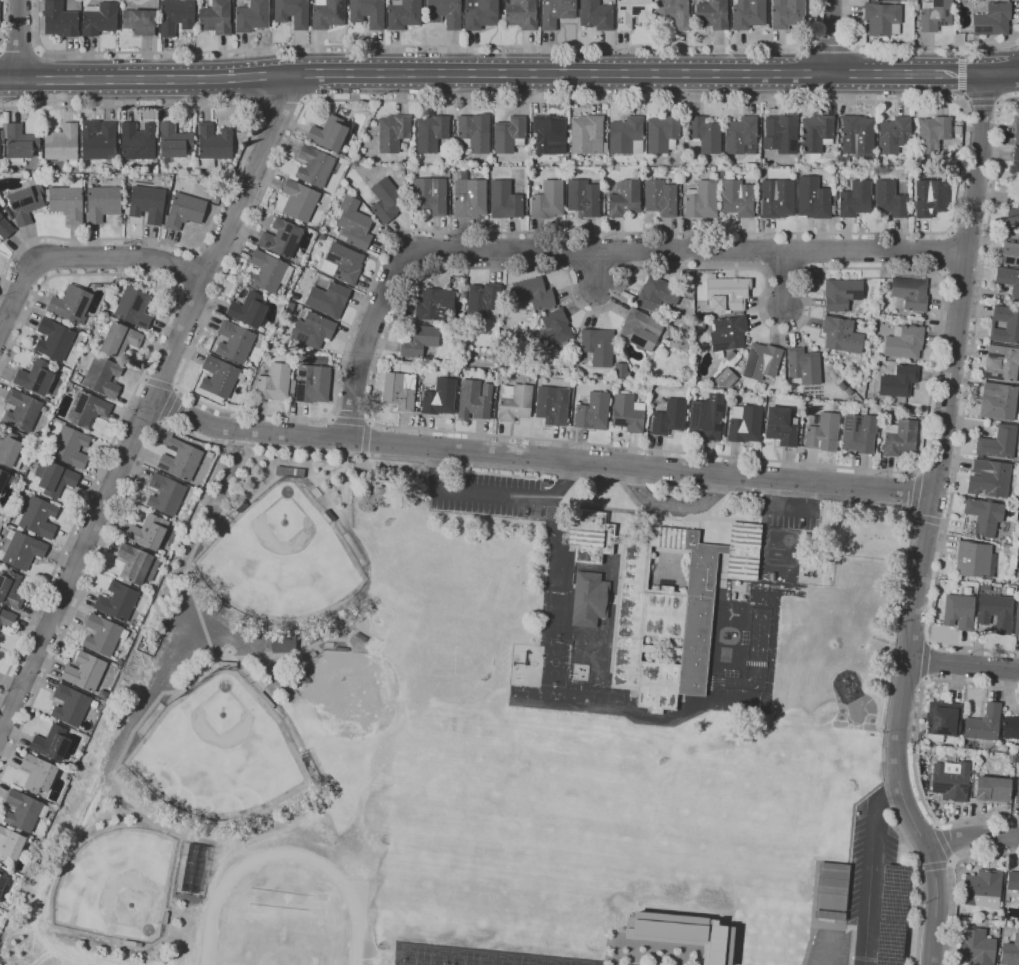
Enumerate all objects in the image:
building: (916, 7)
building: (292, 12)
building: (367, 12)
building: (444, 12)
building: (556, 12)
building: (674, 12)
building: (327, 13)
building: (480, 13)
building: (631, 13)
building: (747, 13)
building: (403, 14)
building: (521, 14)
building: (595, 14)
building: (711, 14)
building: (787, 14)
building: (935, 15)
building: (175, 16)
building: (251, 16)
building: (216, 17)
building: (99, 18)
building: (882, 18)
building: (59, 19)
building: (992, 20)
building: (140, 21)
road: (1, 22)
road: (831, 36)
road: (19, 40)
road: (829, 43)
road: (421, 46)
road: (913, 46)
road: (20, 49)
road: (509, 73)
road: (982, 104)
building: (1016, 125)
building: (432, 132)
building: (816, 132)
building: (329, 133)
building: (393, 133)
building: (474, 133)
building: (662, 133)
building: (704, 133)
building: (781, 133)
building: (932, 133)
building: (509, 134)
building: (549, 134)
building: (587, 134)
building: (894, 134)
building: (741, 135)
building: (857, 135)
building: (625, 136)
building: (98, 140)
building: (137, 141)
building: (173, 141)
building: (20, 142)
building: (61, 142)
building: (213, 144)
building: (844, 158)
building: (493, 161)
building: (1014, 164)
building: (314, 166)
road: (236, 168)
building: (793, 169)
building: (722, 171)
building: (430, 195)
building: (126, 196)
building: (583, 197)
building: (660, 197)
building: (930, 197)
building: (469, 198)
building: (624, 198)
building: (737, 198)
building: (776, 198)
building: (813, 198)
building: (854, 199)
building: (889, 199)
building: (67, 200)
building: (299, 200)
building: (386, 200)
building: (504, 200)
building: (547, 200)
building: (701, 200)
building: (102, 202)
building: (25, 203)
building: (147, 203)
building: (184, 210)
building: (1012, 216)
building: (354, 224)
building: (5, 228)
road: (969, 233)
building: (321, 236)
building: (281, 238)
road: (589, 250)
road: (946, 252)
building: (1010, 253)
road: (80, 258)
building: (342, 263)
road: (596, 268)
road: (187, 270)
building: (268, 271)
road: (962, 272)
road: (785, 278)
building: (688, 281)
building: (1009, 282)
building: (727, 293)
building: (841, 293)
building: (909, 293)
building: (532, 294)
building: (657, 294)
road: (215, 299)
building: (328, 299)
building: (482, 300)
building: (71, 304)
building: (434, 304)
building: (132, 307)
building: (248, 309)
building: (539, 313)
building: (917, 315)
building: (53, 316)
building: (1005, 324)
building: (313, 329)
building: (640, 329)
building: (552, 330)
building: (727, 334)
building: (841, 335)
building: (118, 338)
building: (53, 339)
building: (417, 339)
building: (234, 342)
building: (905, 342)
building: (597, 345)
building: (730, 356)
building: (329, 362)
building: (761, 362)
building: (1001, 363)
building: (803, 367)
building: (453, 368)
building: (621, 370)
road: (374, 371)
building: (500, 371)
building: (251, 374)
building: (102, 376)
building: (220, 376)
building: (35, 377)
building: (725, 378)
road: (140, 380)
building: (898, 381)
road: (160, 383)
building: (274, 383)
building: (312, 383)
building: (69, 384)
building: (841, 385)
building: (292, 386)
building: (735, 388)
building: (690, 390)
building: (399, 391)
building: (439, 397)
building: (474, 399)
building: (998, 401)
building: (514, 402)
road: (150, 403)
building: (552, 405)
road: (964, 405)
road: (170, 406)
building: (86, 409)
building: (21, 410)
building: (593, 412)
building: (627, 413)
road: (145, 415)
building: (669, 417)
building: (705, 418)
building: (744, 423)
building: (781, 426)
building: (822, 433)
building: (858, 433)
road: (367, 438)
building: (899, 438)
building: (998, 443)
building: (70, 447)
building: (10, 450)
road: (540, 457)
building: (180, 460)
building: (289, 472)
road: (575, 474)
building: (2, 477)
building: (54, 478)
building: (989, 479)
road: (495, 492)
road: (916, 492)
parking lot: (494, 493)
building: (165, 494)
road: (672, 503)
building: (242, 507)
road: (789, 508)
parking lot: (791, 514)
building: (329, 515)
building: (984, 515)
building: (38, 517)
road: (929, 522)
building: (1018, 523)
building: (148, 531)
building: (23, 549)
park: (281, 558)
building: (973, 559)
building: (137, 564)
building: (771, 577)
building: (737, 583)
building: (984, 587)
building: (10, 590)
building: (733, 596)
building: (589, 599)
building: (116, 601)
building: (662, 603)
building: (959, 611)
building: (995, 611)
park: (388, 616)
building: (6, 618)
building: (1017, 619)
building: (165, 620)
building: (103, 635)
road: (711, 638)
building: (281, 643)
building: (341, 649)
building: (313, 654)
park: (470, 661)
park: (554, 662)
road: (963, 663)
building: (85, 671)
road: (756, 672)
building: (307, 676)
road: (709, 681)
park: (352, 693)
building: (102, 694)
building: (178, 694)
building: (266, 700)
building: (69, 705)
building: (942, 720)
building: (984, 723)
building: (1010, 727)
building: (85, 739)
building: (51, 743)
road: (915, 747)
park: (218, 752)
building: (1017, 758)
building: (38, 774)
building: (950, 780)
building: (991, 788)
building: (1017, 790)
building: (23, 810)
road: (972, 837)
road: (944, 843)
building: (10, 845)
road: (935, 865)
road: (870, 869)
road: (952, 877)
building: (2, 881)
building: (1013, 881)
park: (118, 882)
parking lot: (872, 888)
building: (982, 889)
building: (831, 891)
track: (355, 905)
building: (165, 917)
building: (681, 934)
building: (129, 943)
building: (137, 944)
building: (976, 946)
building: (1010, 951)
park: (423, 955)
park: (471, 957)
park: (519, 959)
park: (567, 962)

